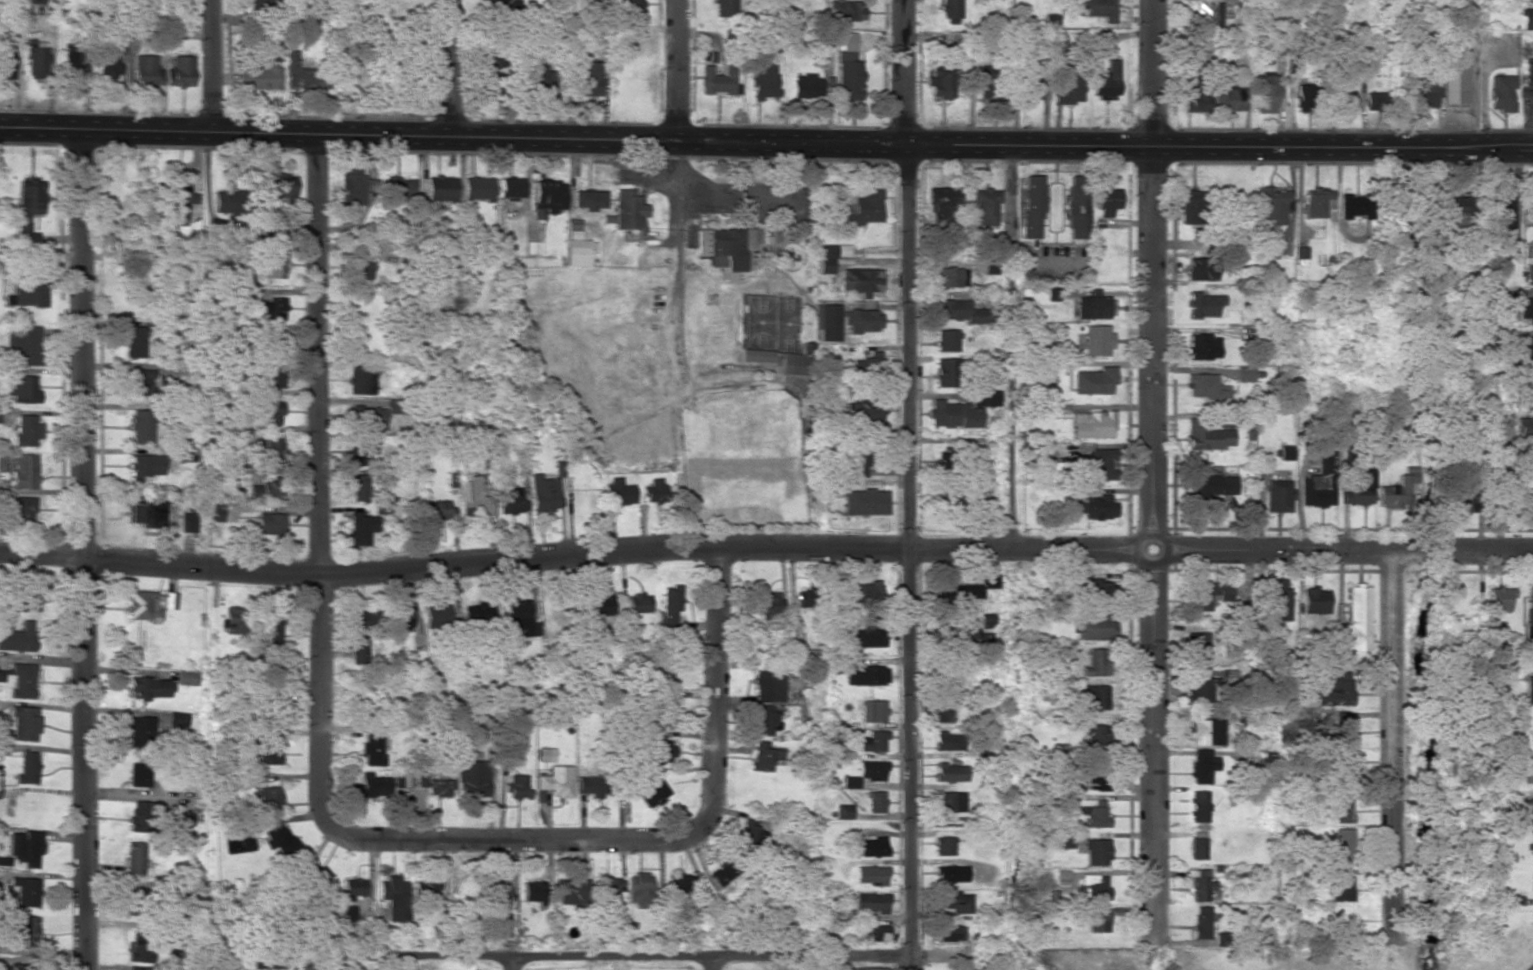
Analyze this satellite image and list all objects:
building: (32, 1)
building: (263, 5)
building: (499, 6)
building: (628, 7)
building: (722, 7)
building: (1096, 9)
building: (843, 10)
building: (949, 11)
building: (1207, 13)
building: (1527, 17)
building: (1057, 45)
building: (110, 57)
building: (34, 58)
building: (5, 59)
building: (73, 65)
road: (212, 67)
road: (450, 68)
building: (848, 69)
building: (145, 70)
road: (677, 70)
building: (179, 71)
building: (1529, 71)
building: (303, 74)
building: (257, 76)
building: (590, 78)
building: (762, 78)
building: (717, 80)
building: (1107, 80)
building: (536, 81)
building: (985, 82)
building: (1031, 82)
building: (941, 83)
building: (1443, 83)
building: (806, 85)
building: (1069, 87)
building: (1501, 92)
building: (1265, 93)
building: (1228, 96)
building: (1196, 97)
building: (1304, 97)
building: (1343, 100)
building: (1374, 101)
road: (766, 142)
building: (278, 185)
building: (354, 186)
building: (399, 188)
building: (439, 188)
building: (507, 188)
building: (475, 189)
building: (29, 198)
building: (546, 198)
building: (586, 199)
building: (177, 201)
building: (231, 201)
building: (1106, 201)
building: (1316, 202)
building: (862, 203)
building: (941, 203)
building: (1355, 205)
building: (984, 206)
building: (1032, 206)
building: (1076, 206)
building: (1190, 206)
building: (627, 209)
building: (1456, 209)
building: (1531, 209)
building: (1501, 210)
building: (26, 234)
building: (1271, 245)
building: (579, 248)
building: (723, 250)
building: (1301, 256)
building: (824, 257)
building: (763, 259)
building: (277, 265)
building: (359, 266)
building: (1201, 269)
building: (1529, 275)
building: (949, 277)
building: (857, 280)
building: (28, 291)
building: (1204, 304)
building: (1094, 307)
building: (276, 308)
building: (1526, 308)
building: (959, 311)
building: (862, 321)
building: (826, 322)
building: (945, 340)
building: (1097, 340)
building: (133, 341)
building: (275, 341)
building: (25, 345)
building: (1203, 346)
building: (1525, 349)
road: (320, 355)
building: (756, 355)
building: (864, 362)
building: (792, 363)
building: (945, 372)
building: (271, 376)
building: (361, 380)
building: (1094, 380)
building: (138, 382)
building: (1203, 385)
building: (22, 389)
building: (985, 398)
building: (270, 412)
building: (863, 412)
building: (952, 414)
building: (367, 416)
building: (1093, 424)
building: (140, 426)
building: (1524, 426)
building: (26, 430)
building: (1208, 437)
building: (268, 447)
building: (360, 451)
building: (1282, 452)
park: (742, 458)
building: (861, 461)
building: (1098, 464)
building: (145, 466)
building: (1531, 466)
building: (20, 469)
road: (1150, 470)
building: (1319, 483)
road: (906, 485)
building: (1214, 485)
building: (358, 488)
building: (264, 489)
building: (1360, 489)
building: (1402, 489)
building: (655, 491)
building: (618, 492)
building: (544, 493)
building: (1278, 495)
building: (472, 498)
building: (510, 501)
building: (865, 502)
building: (1463, 503)
building: (1097, 507)
building: (23, 509)
building: (437, 510)
building: (1524, 510)
building: (213, 514)
building: (140, 515)
building: (187, 522)
building: (269, 524)
building: (361, 528)
road: (765, 547)
road: (84, 550)
building: (1100, 592)
building: (867, 593)
building: (1205, 594)
building: (1500, 599)
building: (169, 600)
building: (1315, 600)
building: (1278, 601)
building: (639, 603)
building: (769, 603)
building: (599, 605)
building: (669, 605)
building: (142, 606)
building: (478, 615)
building: (1529, 615)
building: (436, 616)
building: (401, 617)
building: (520, 618)
building: (987, 619)
building: (1357, 620)
building: (230, 621)
building: (1095, 627)
building: (276, 636)
building: (358, 637)
building: (868, 637)
building: (18, 638)
building: (1199, 647)
building: (1096, 662)
building: (867, 675)
building: (1, 676)
building: (186, 677)
building: (23, 683)
building: (768, 686)
building: (149, 688)
building: (1201, 689)
building: (1336, 689)
building: (1529, 690)
building: (1095, 696)
building: (662, 711)
building: (872, 711)
building: (942, 711)
building: (765, 718)
building: (24, 723)
building: (1343, 727)
building: (1532, 727)
building: (139, 731)
building: (1206, 731)
building: (1096, 736)
building: (873, 741)
building: (948, 741)
road: (1395, 743)
building: (372, 749)
building: (657, 751)
building: (268, 753)
building: (764, 756)
building: (1264, 760)
building: (1203, 765)
building: (1342, 767)
building: (27, 768)
building: (871, 770)
building: (951, 772)
building: (1528, 772)
building: (139, 775)
building: (1098, 777)
building: (472, 778)
building: (556, 781)
building: (849, 782)
building: (593, 785)
building: (517, 786)
building: (370, 787)
building: (439, 787)
building: (652, 793)
building: (1199, 799)
building: (269, 800)
building: (875, 802)
building: (948, 804)
building: (1344, 809)
building: (843, 811)
building: (1095, 814)
building: (139, 817)
building: (184, 818)
building: (750, 834)
road: (531, 837)
building: (278, 840)
building: (1343, 844)
building: (873, 846)
building: (943, 846)
building: (1198, 847)
building: (24, 848)
building: (1097, 852)
building: (1532, 858)
building: (138, 860)
building: (951, 874)
building: (871, 875)
building: (320, 877)
building: (679, 882)
building: (1341, 884)
building: (1201, 885)
building: (1096, 886)
building: (352, 889)
building: (427, 890)
building: (606, 890)
building: (640, 890)
building: (533, 891)
building: (571, 891)
building: (26, 892)
building: (495, 893)
building: (393, 898)
building: (955, 902)
building: (870, 903)
building: (348, 913)
building: (1099, 920)
building: (1201, 922)
building: (24, 931)
building: (877, 933)
building: (950, 933)
building: (141, 948)
river: (1434, 950)
road: (615, 958)
building: (268, 959)
road: (512, 964)
road: (714, 964)
road: (317, 965)
building: (14, 966)
road: (1530, 967)
building: (142, 968)
building: (866, 968)

